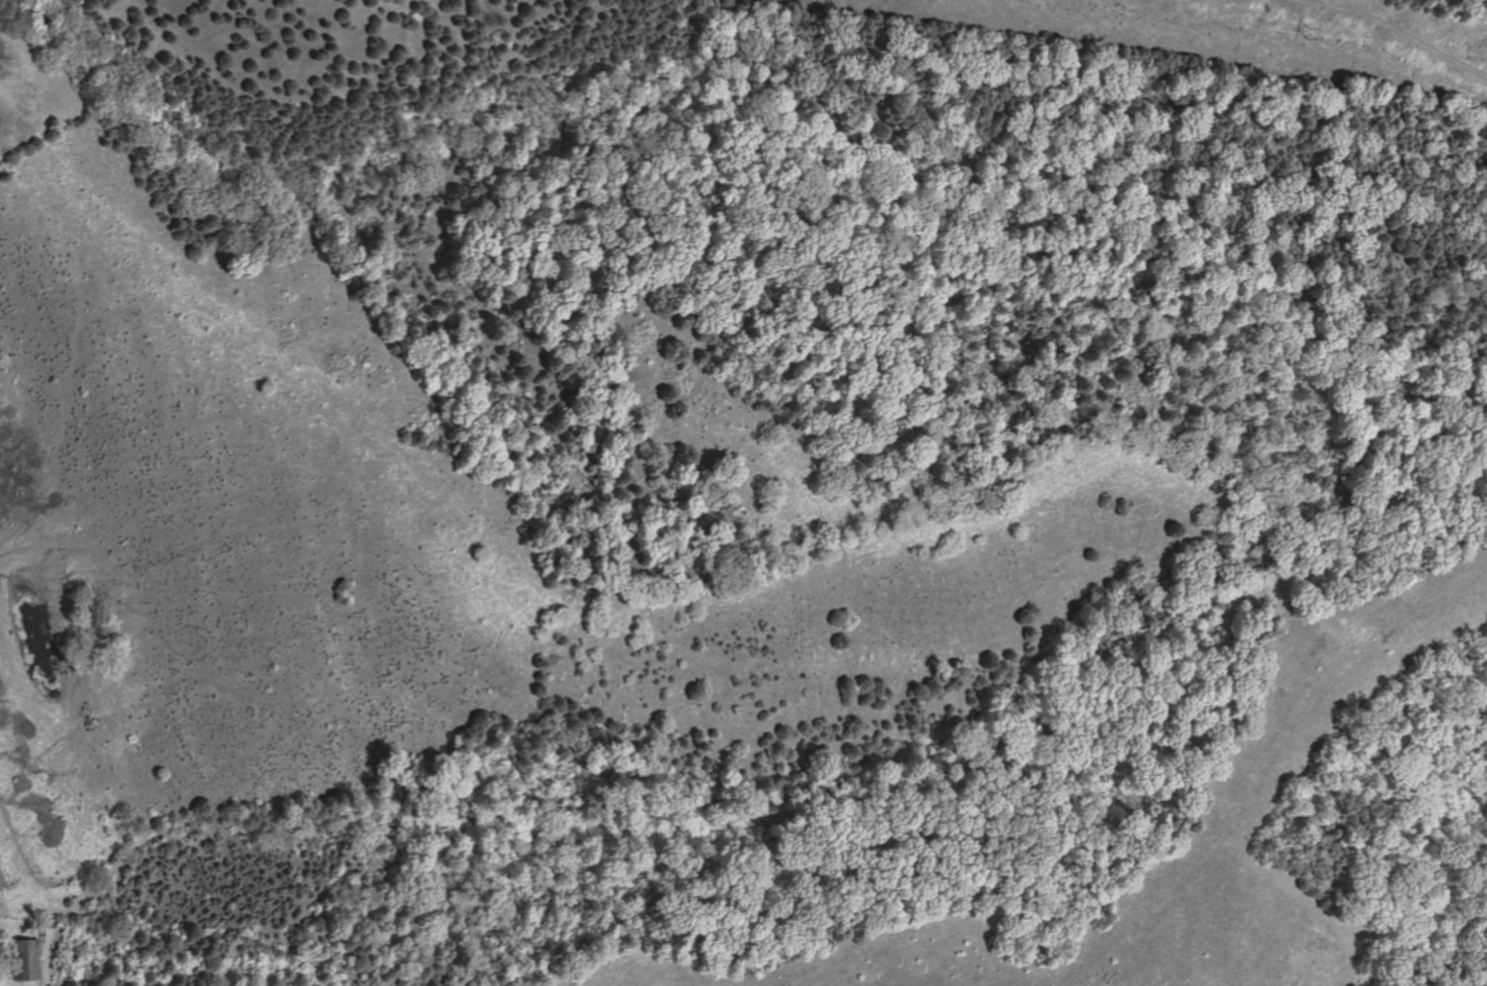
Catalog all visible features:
power tower: (1309, 23)
building: (0, 882)
building: (70, 951)
building: (22, 959)

